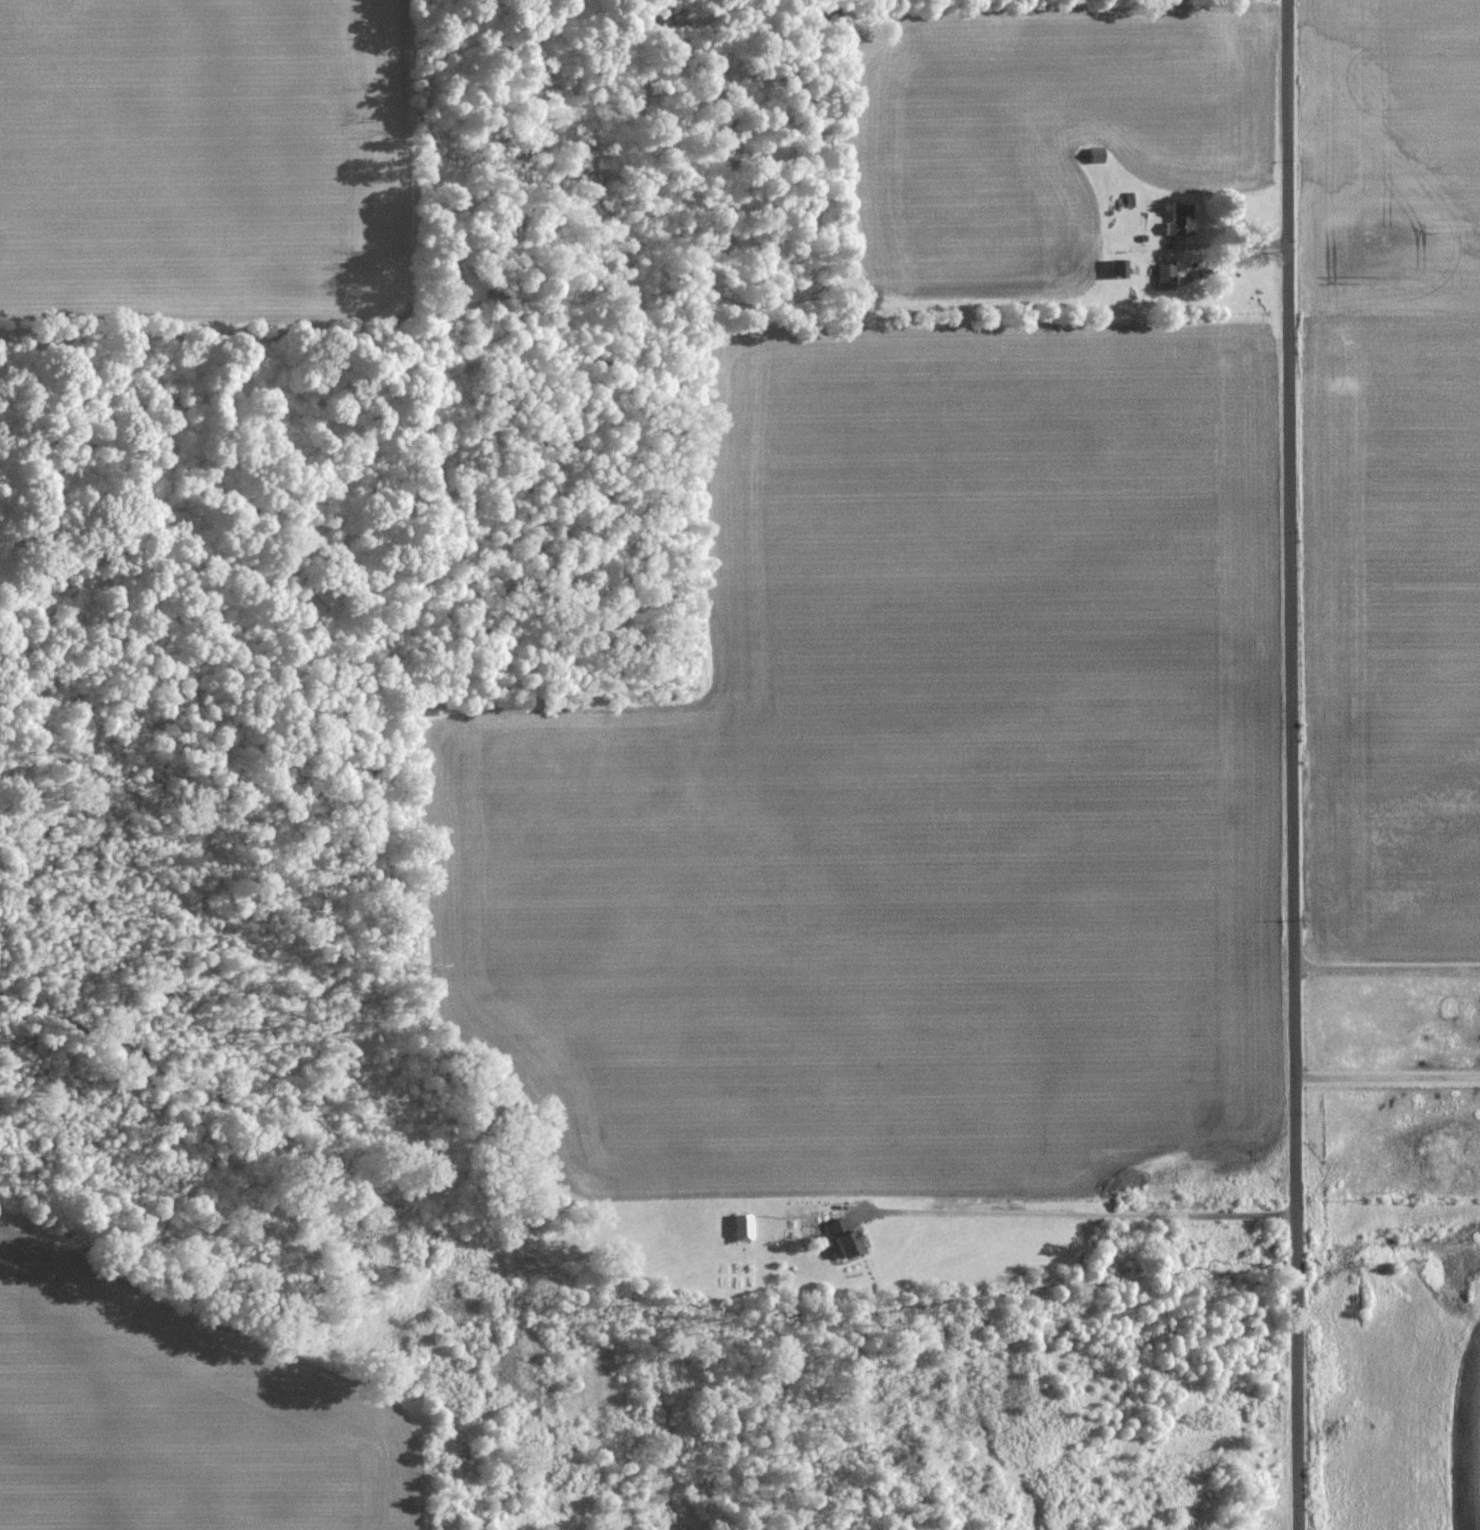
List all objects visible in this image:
building: (1094, 155)
building: (1180, 221)
road: (1238, 246)
building: (1119, 268)
building: (1165, 275)
road: (1297, 765)
road: (1389, 965)
road: (1389, 1076)
road: (1079, 1212)
building: (739, 1228)
building: (839, 1238)

